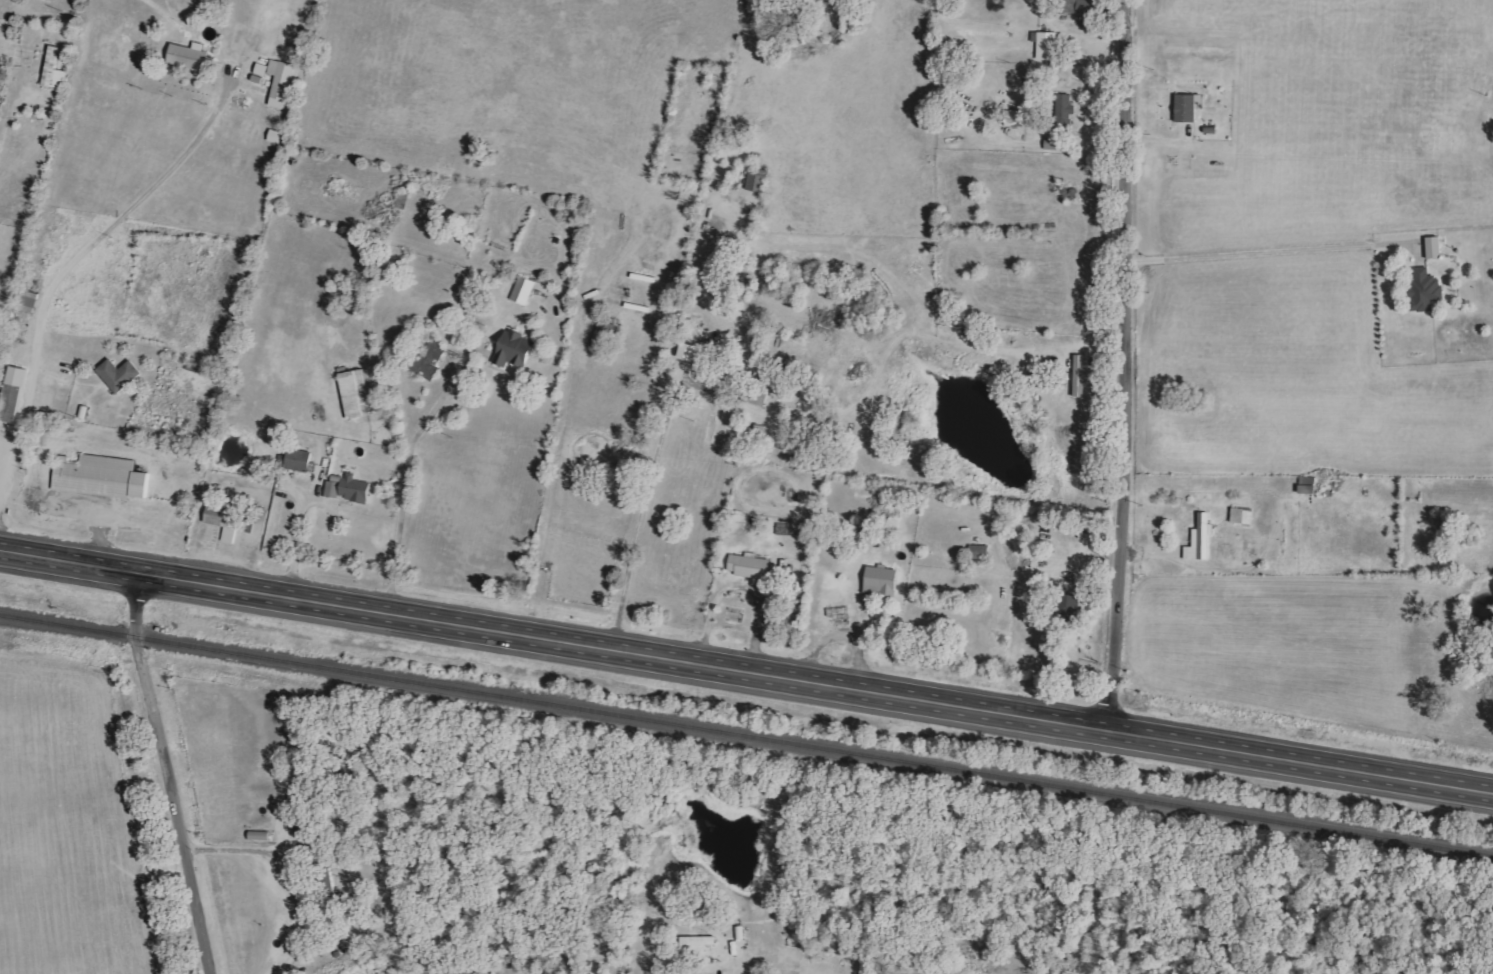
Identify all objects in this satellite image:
building: (1092, 8)
building: (1048, 45)
building: (190, 57)
building: (56, 70)
building: (283, 83)
building: (1067, 106)
building: (1189, 107)
building: (1021, 119)
building: (1053, 144)
building: (759, 180)
road: (1264, 247)
building: (1436, 248)
road: (66, 270)
building: (525, 290)
building: (1427, 290)
building: (606, 334)
building: (517, 350)
building: (697, 353)
building: (431, 360)
road: (1121, 362)
building: (121, 374)
building: (20, 376)
building: (1081, 376)
building: (358, 394)
building: (759, 395)
building: (14, 403)
building: (298, 460)
road: (408, 471)
building: (104, 477)
building: (1309, 485)
building: (358, 489)
building: (334, 490)
road: (642, 510)
building: (259, 520)
building: (226, 522)
building: (1202, 539)
road: (295, 544)
building: (980, 552)
building: (751, 566)
building: (883, 581)
road: (742, 587)
building: (839, 611)
road: (746, 666)
railway: (746, 734)
road: (166, 773)
road: (276, 870)

